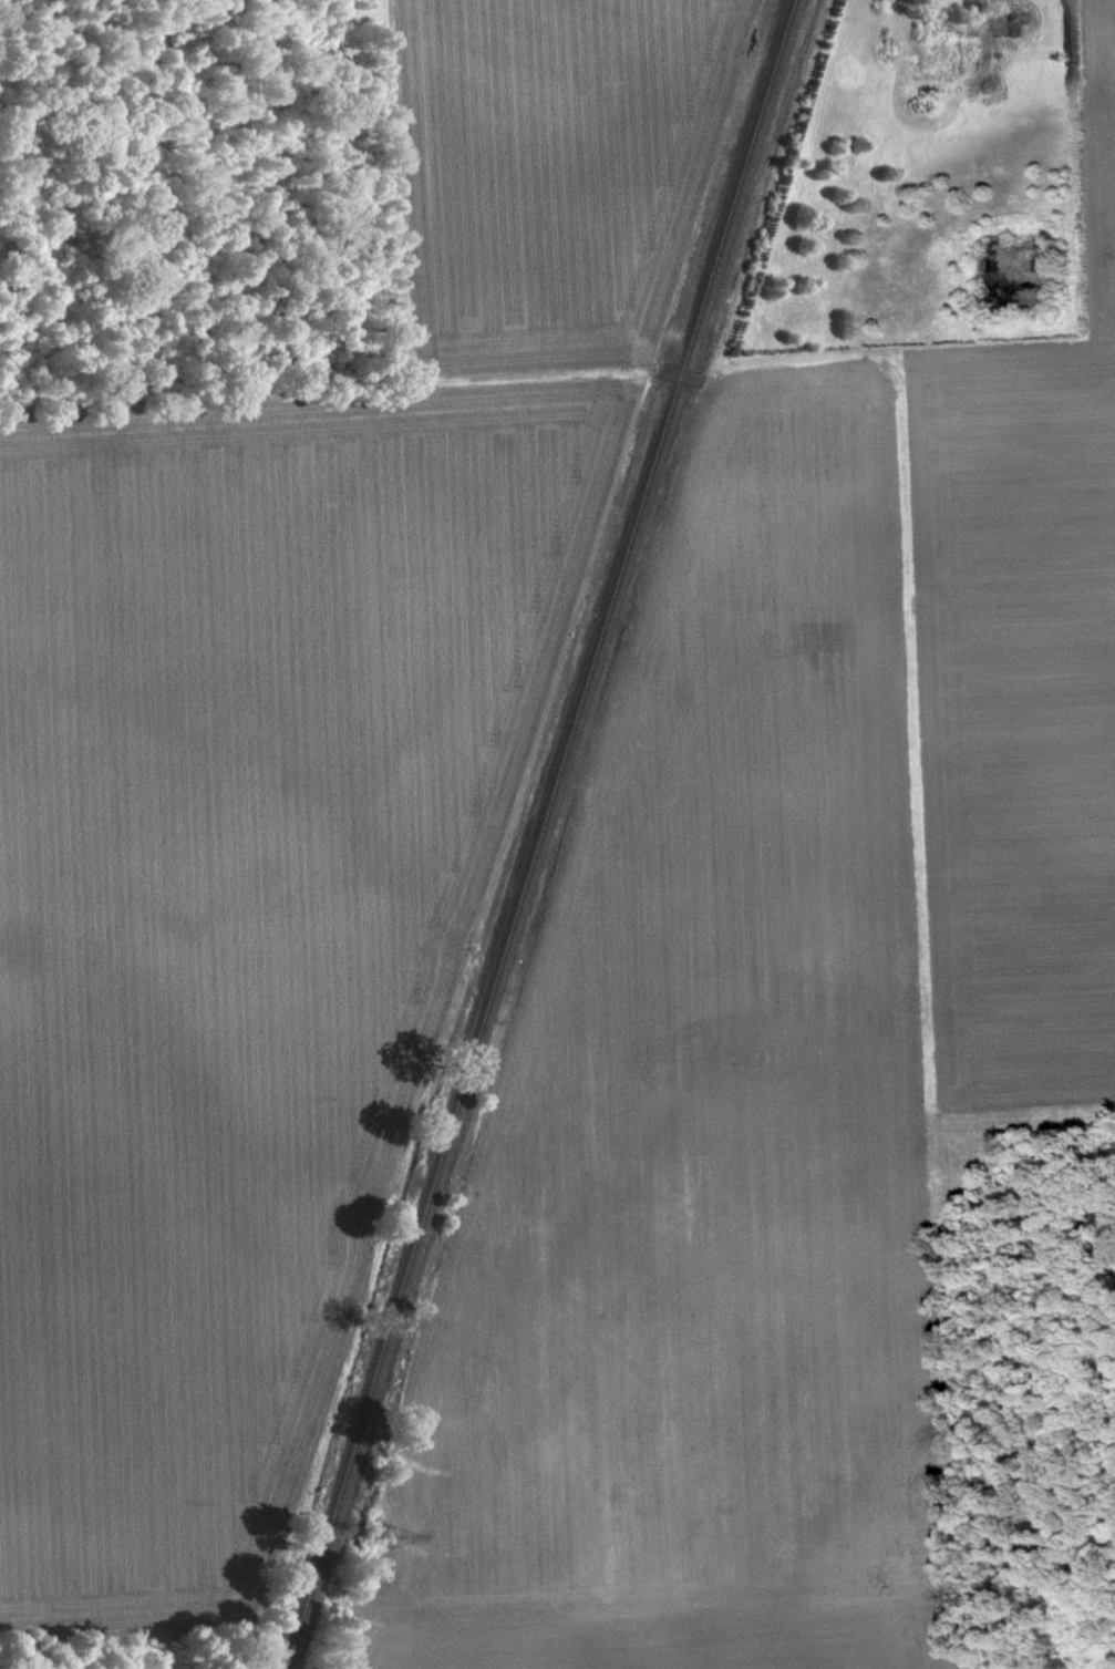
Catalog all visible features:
railway: (540, 834)
power tower: (385, 1534)

